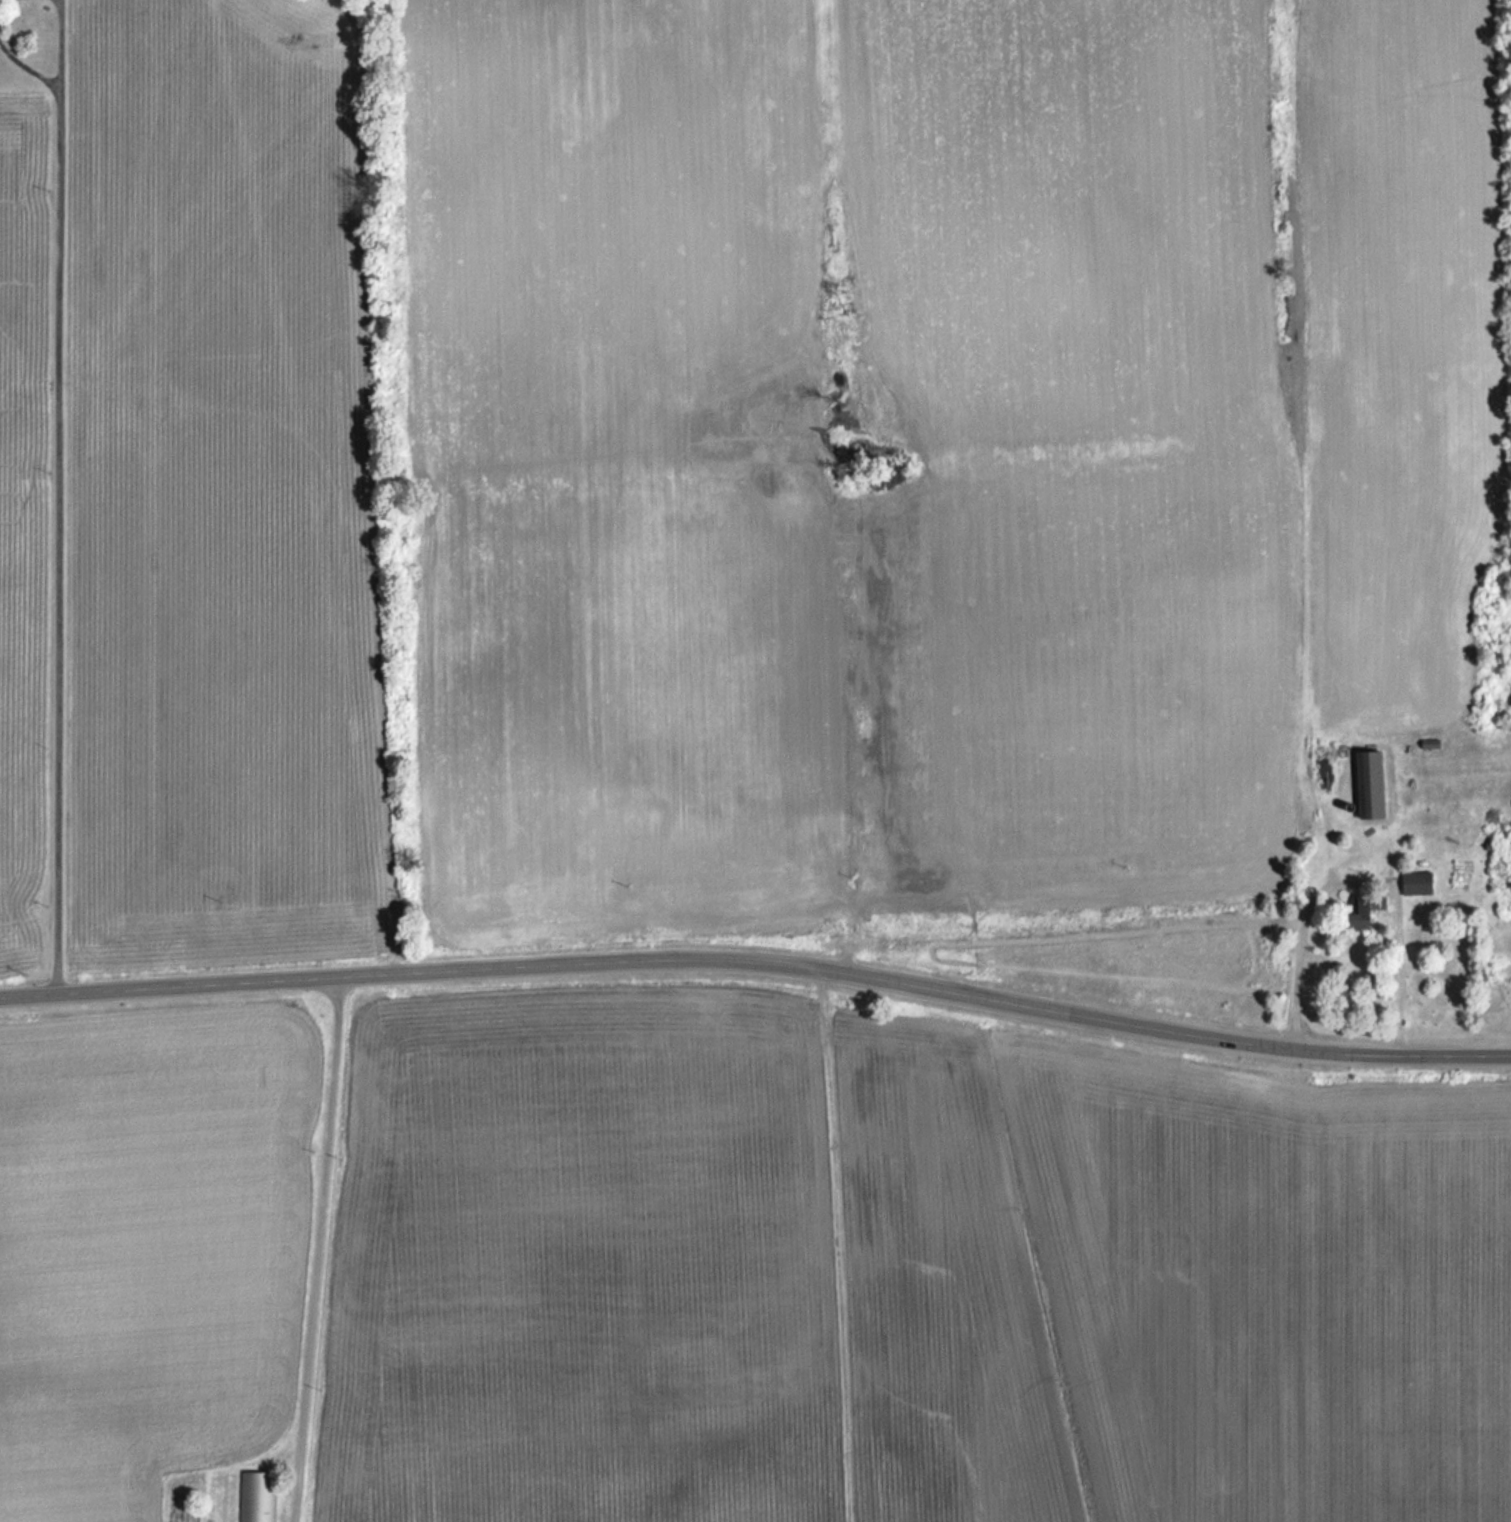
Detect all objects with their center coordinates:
road: (61, 42)
road: (28, 62)
road: (57, 540)
building: (1326, 756)
building: (1373, 785)
road: (1350, 875)
building: (1418, 882)
building: (1368, 910)
road: (654, 961)
road: (1406, 1057)
road: (310, 1250)
building: (256, 1496)

